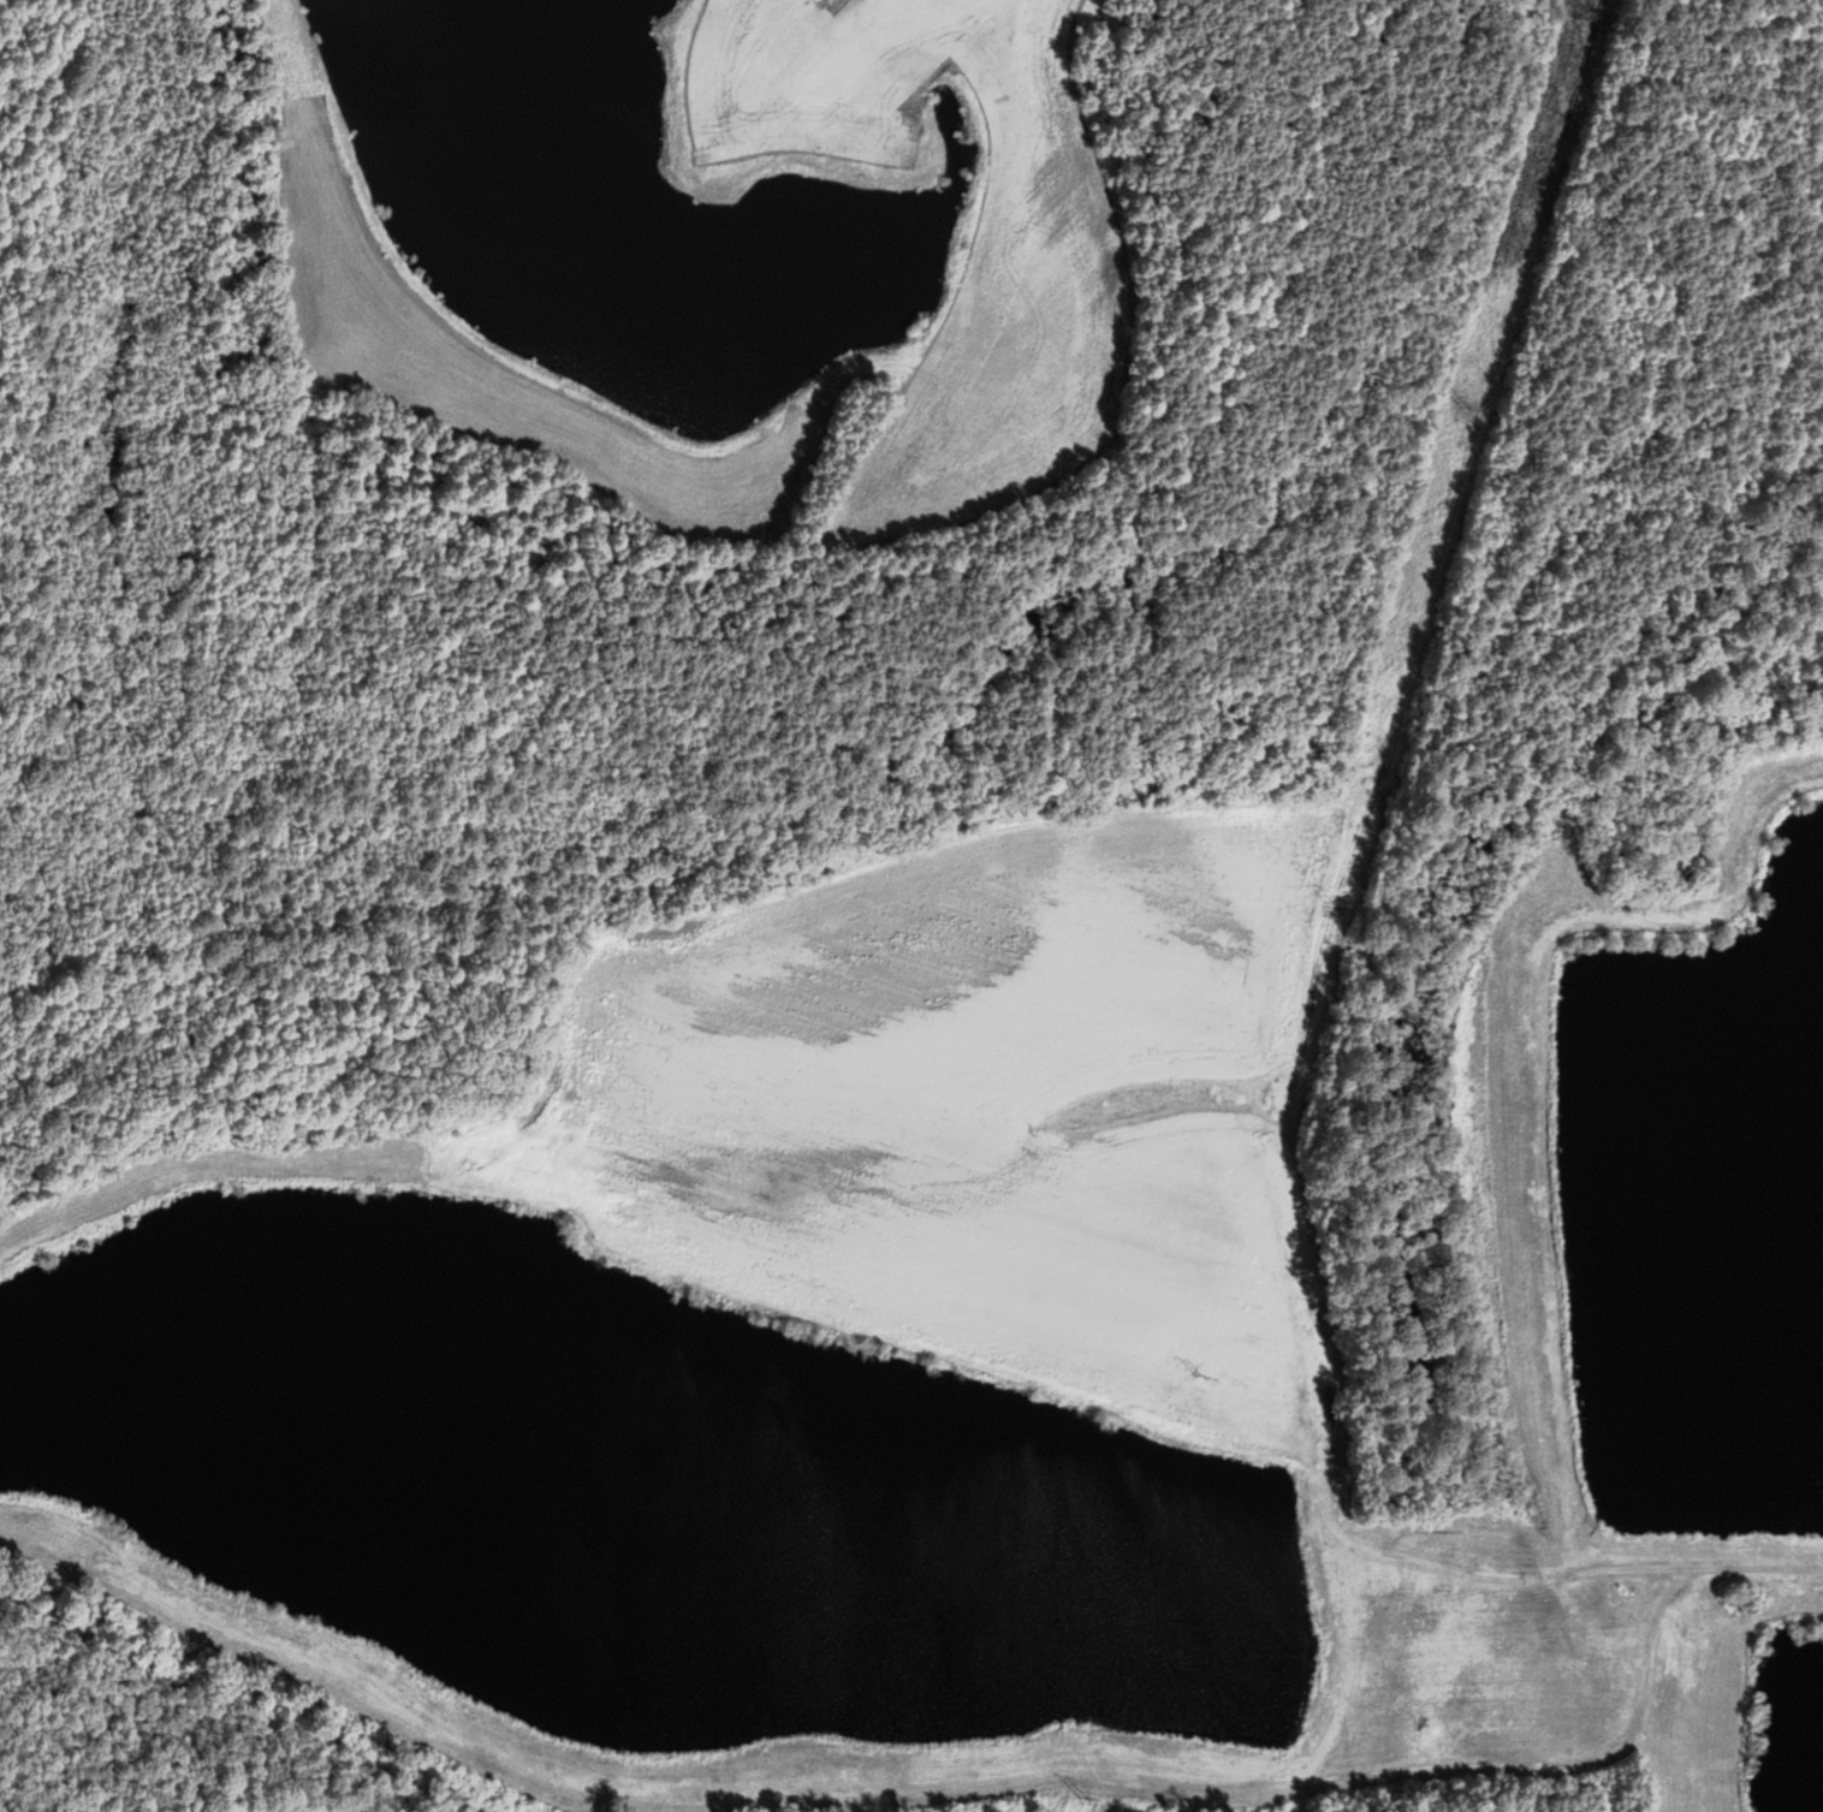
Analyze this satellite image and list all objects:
power tower: (1466, 408)
power tower: (1329, 901)
power tower: (1209, 1373)
power tower: (1095, 1796)

